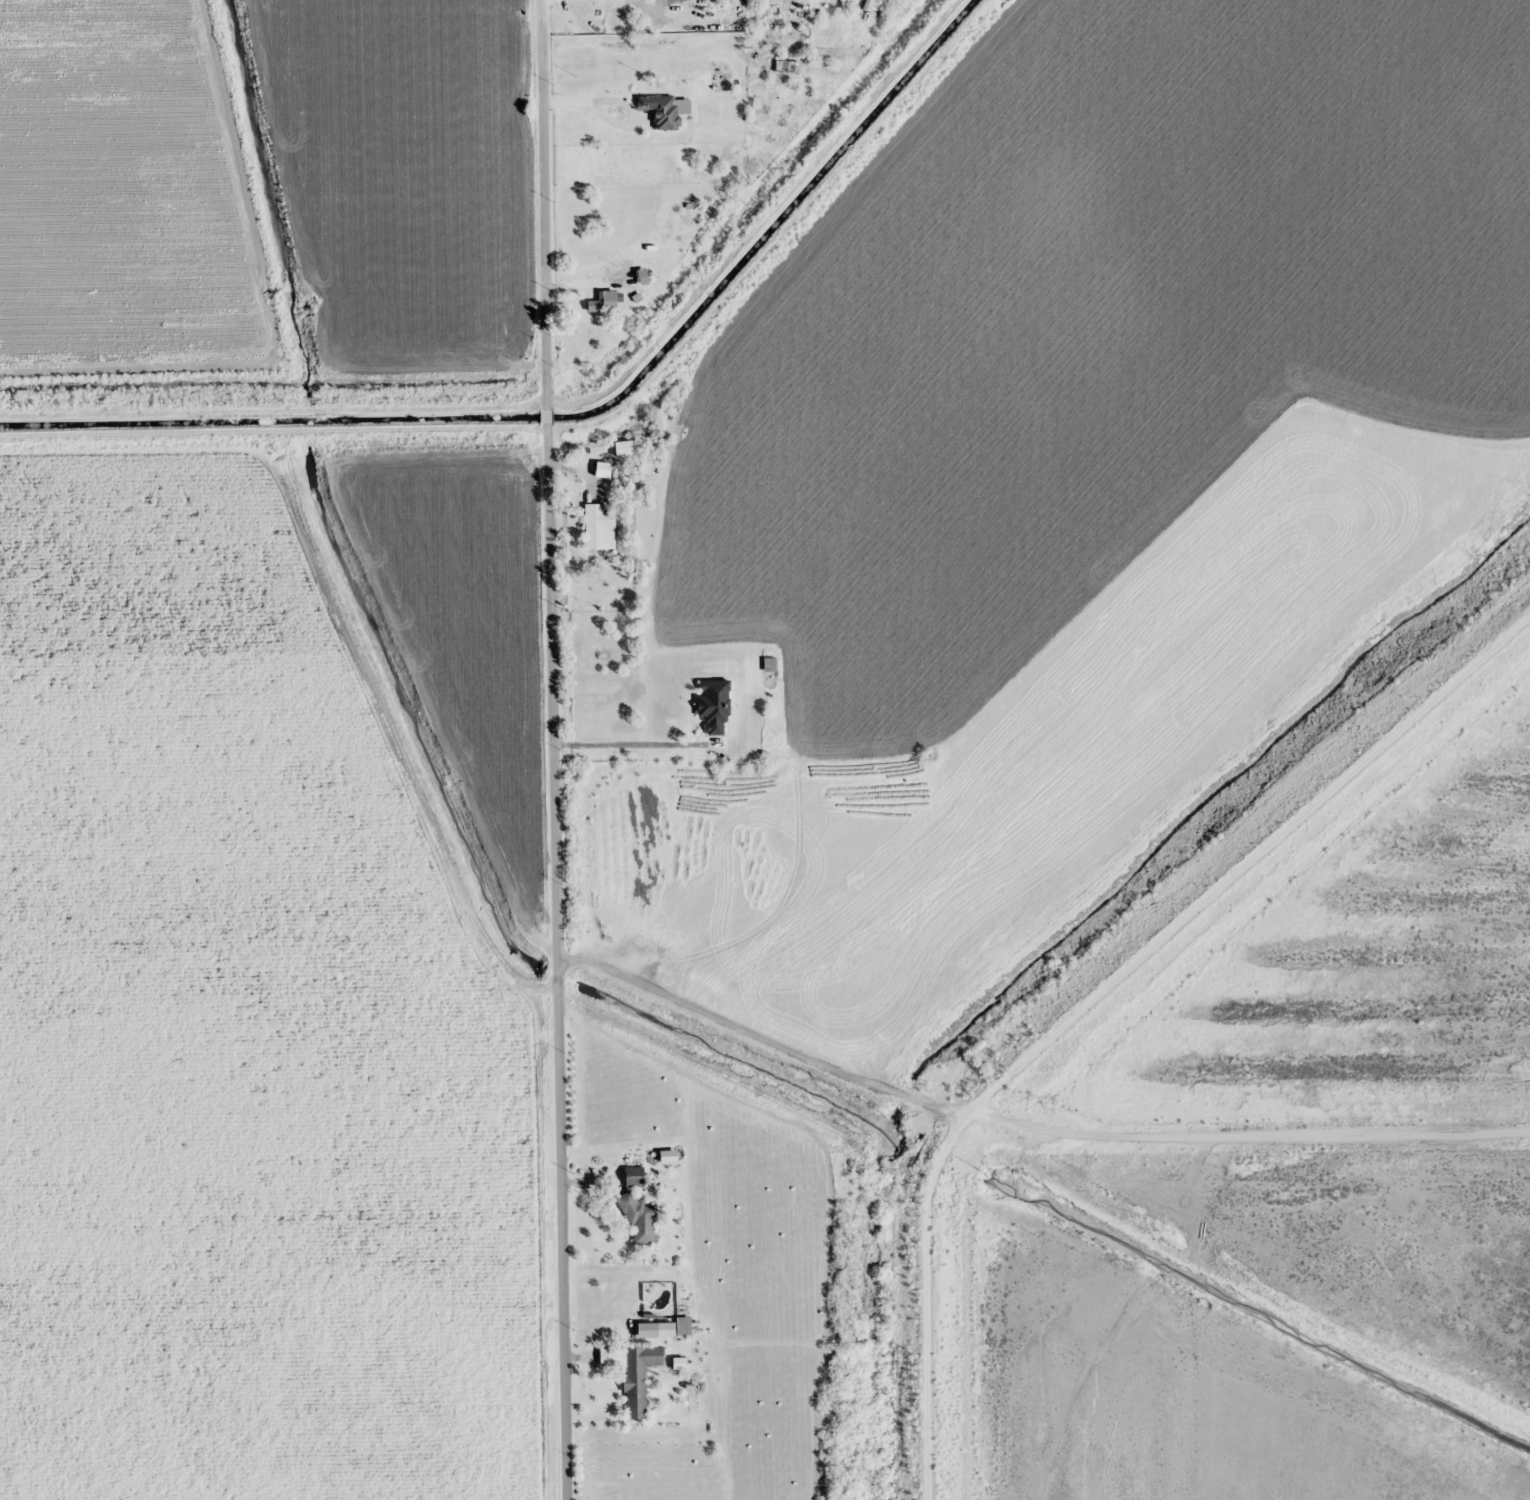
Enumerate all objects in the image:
building: (708, 9)
building: (666, 110)
road: (542, 205)
building: (1522, 269)
building: (643, 277)
building: (606, 302)
road: (546, 416)
building: (624, 449)
building: (599, 528)
building: (603, 590)
building: (714, 706)
road: (557, 961)
road: (1113, 995)
road: (794, 1028)
road: (1278, 1115)
building: (635, 1176)
building: (639, 1218)
building: (648, 1330)
building: (639, 1377)

